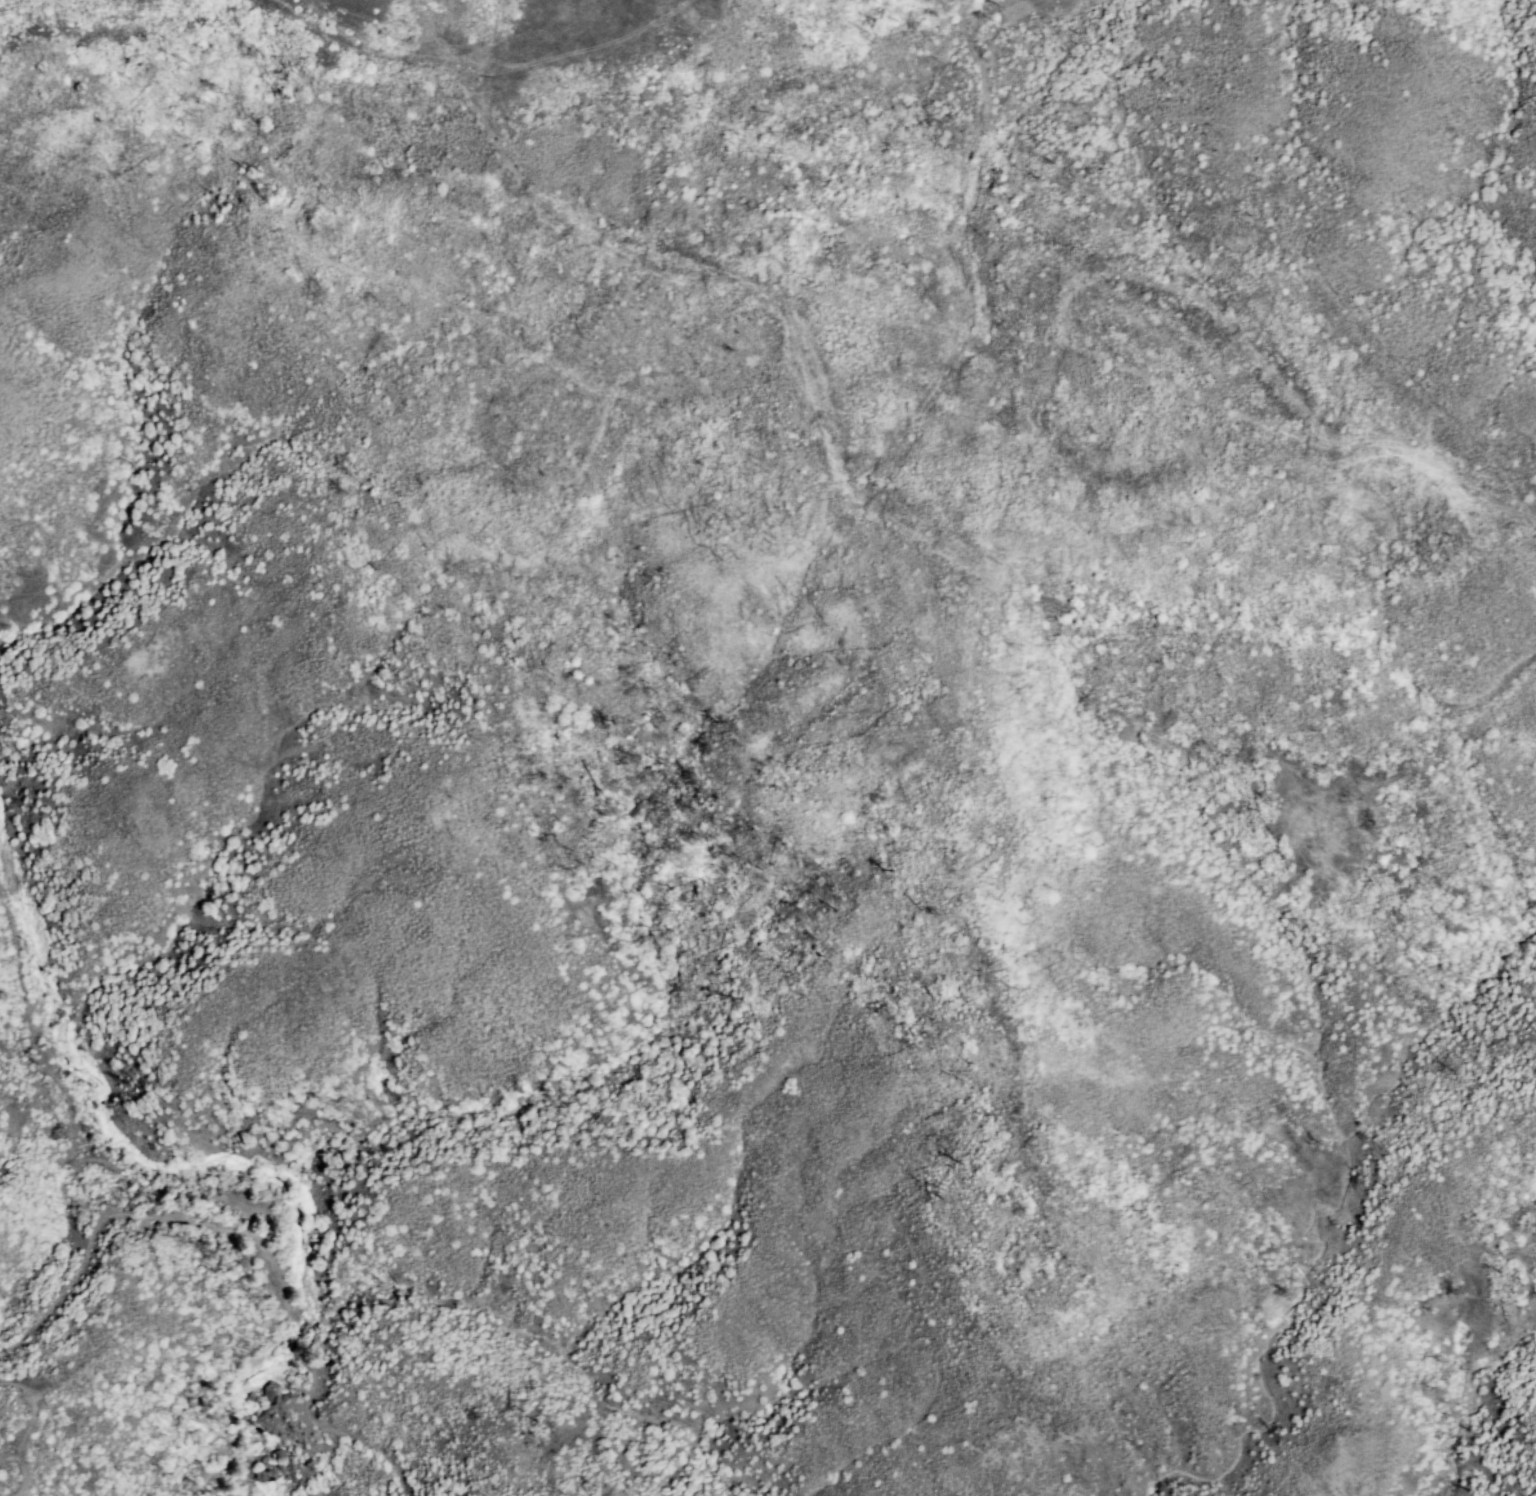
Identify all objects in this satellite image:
road: (948, 535)
road: (258, 1236)
road: (29, 1428)

